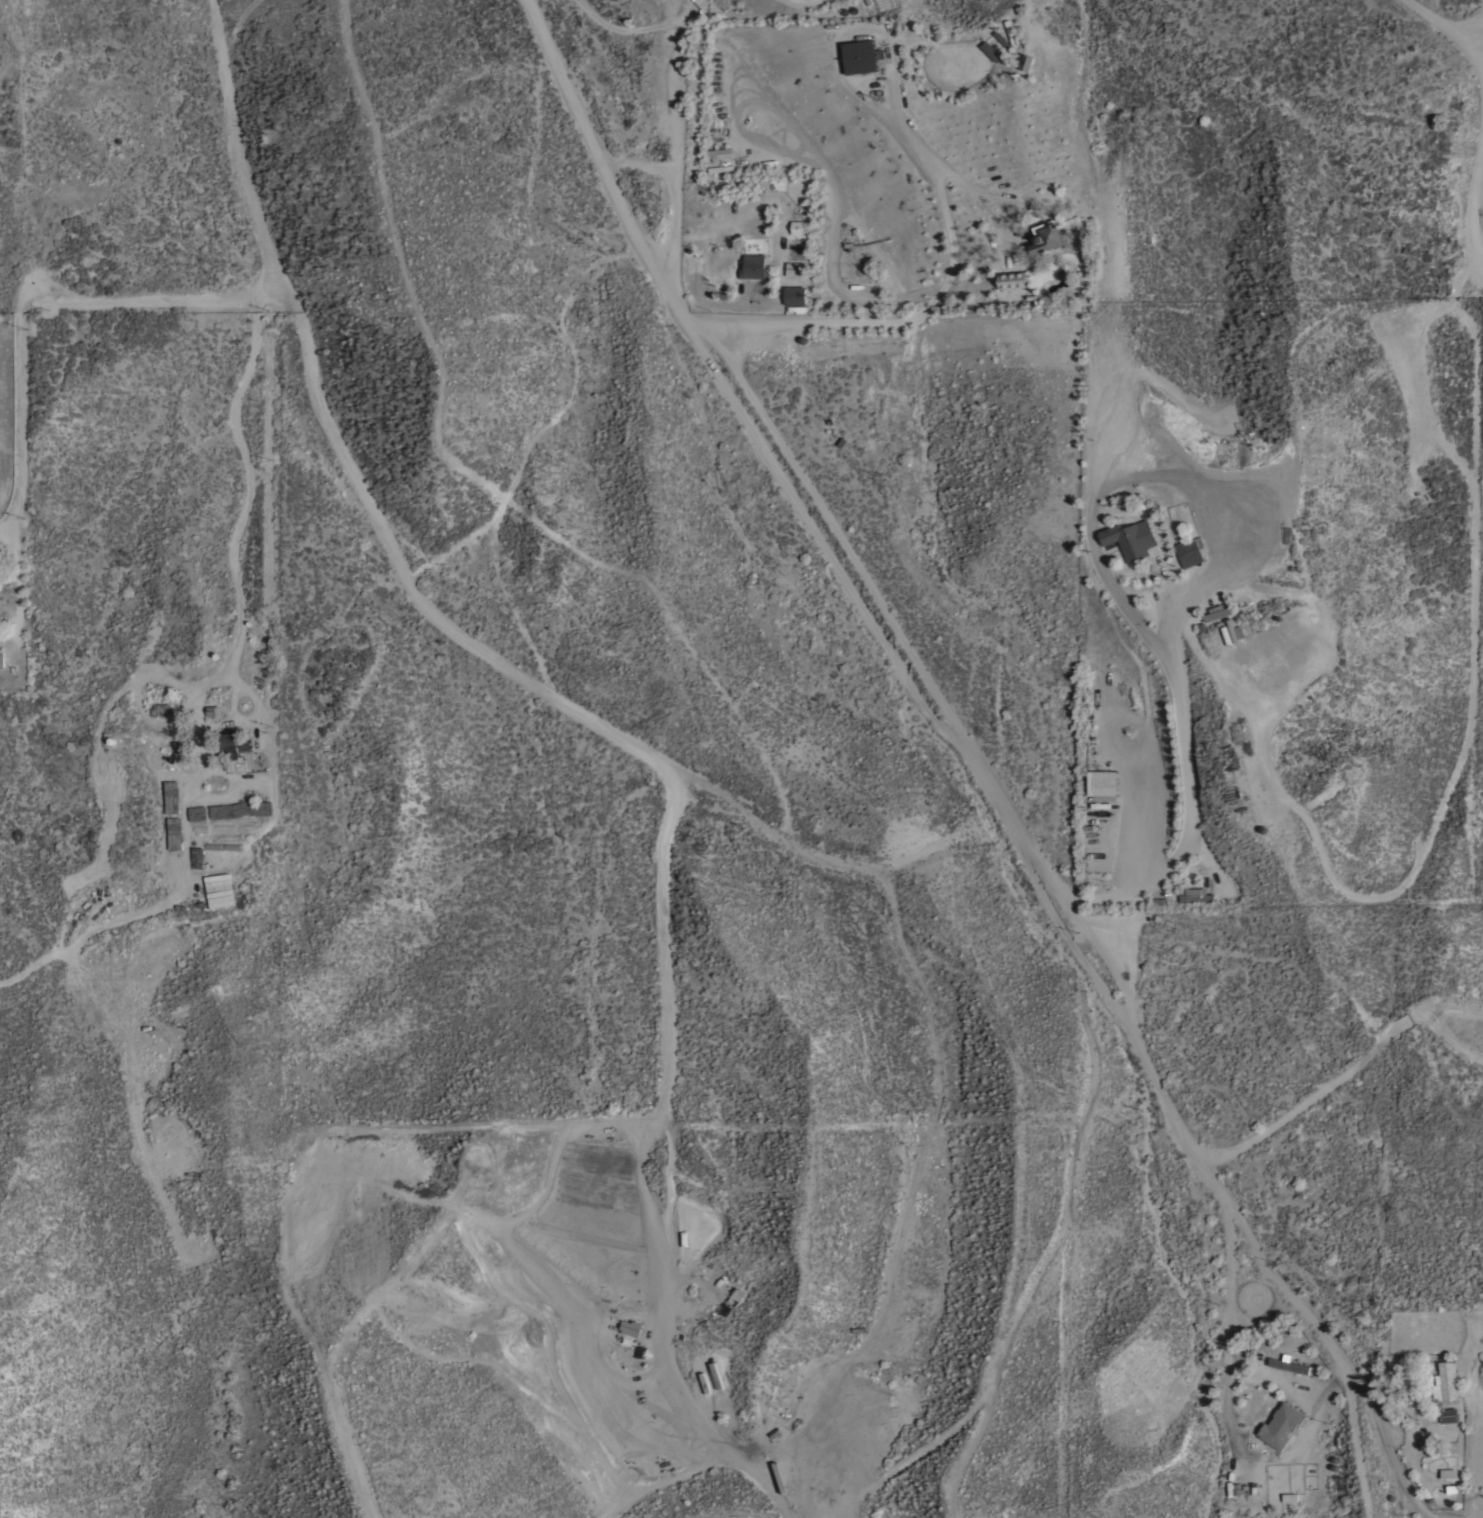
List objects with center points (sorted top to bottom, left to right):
road: (1447, 26)
road: (1478, 27)
building: (991, 52)
road: (1482, 53)
building: (860, 57)
building: (1027, 63)
road: (676, 99)
road: (916, 136)
road: (234, 138)
road: (673, 197)
building: (800, 228)
building: (1048, 238)
building: (753, 268)
building: (796, 270)
building: (1013, 281)
road: (1461, 281)
building: (795, 297)
road: (27, 307)
road: (243, 516)
building: (1134, 540)
building: (1190, 553)
road: (19, 576)
road: (1472, 594)
building: (1, 624)
building: (1239, 633)
road: (489, 657)
building: (2, 661)
building: (159, 711)
building: (238, 744)
road: (955, 759)
building: (1102, 784)
building: (171, 798)
building: (241, 811)
building: (198, 814)
building: (174, 834)
building: (197, 859)
building: (1197, 896)
road: (663, 1047)
road: (1347, 1075)
road: (1226, 1325)
building: (631, 1328)
building: (1445, 1384)
building: (1448, 1416)
building: (1278, 1426)

